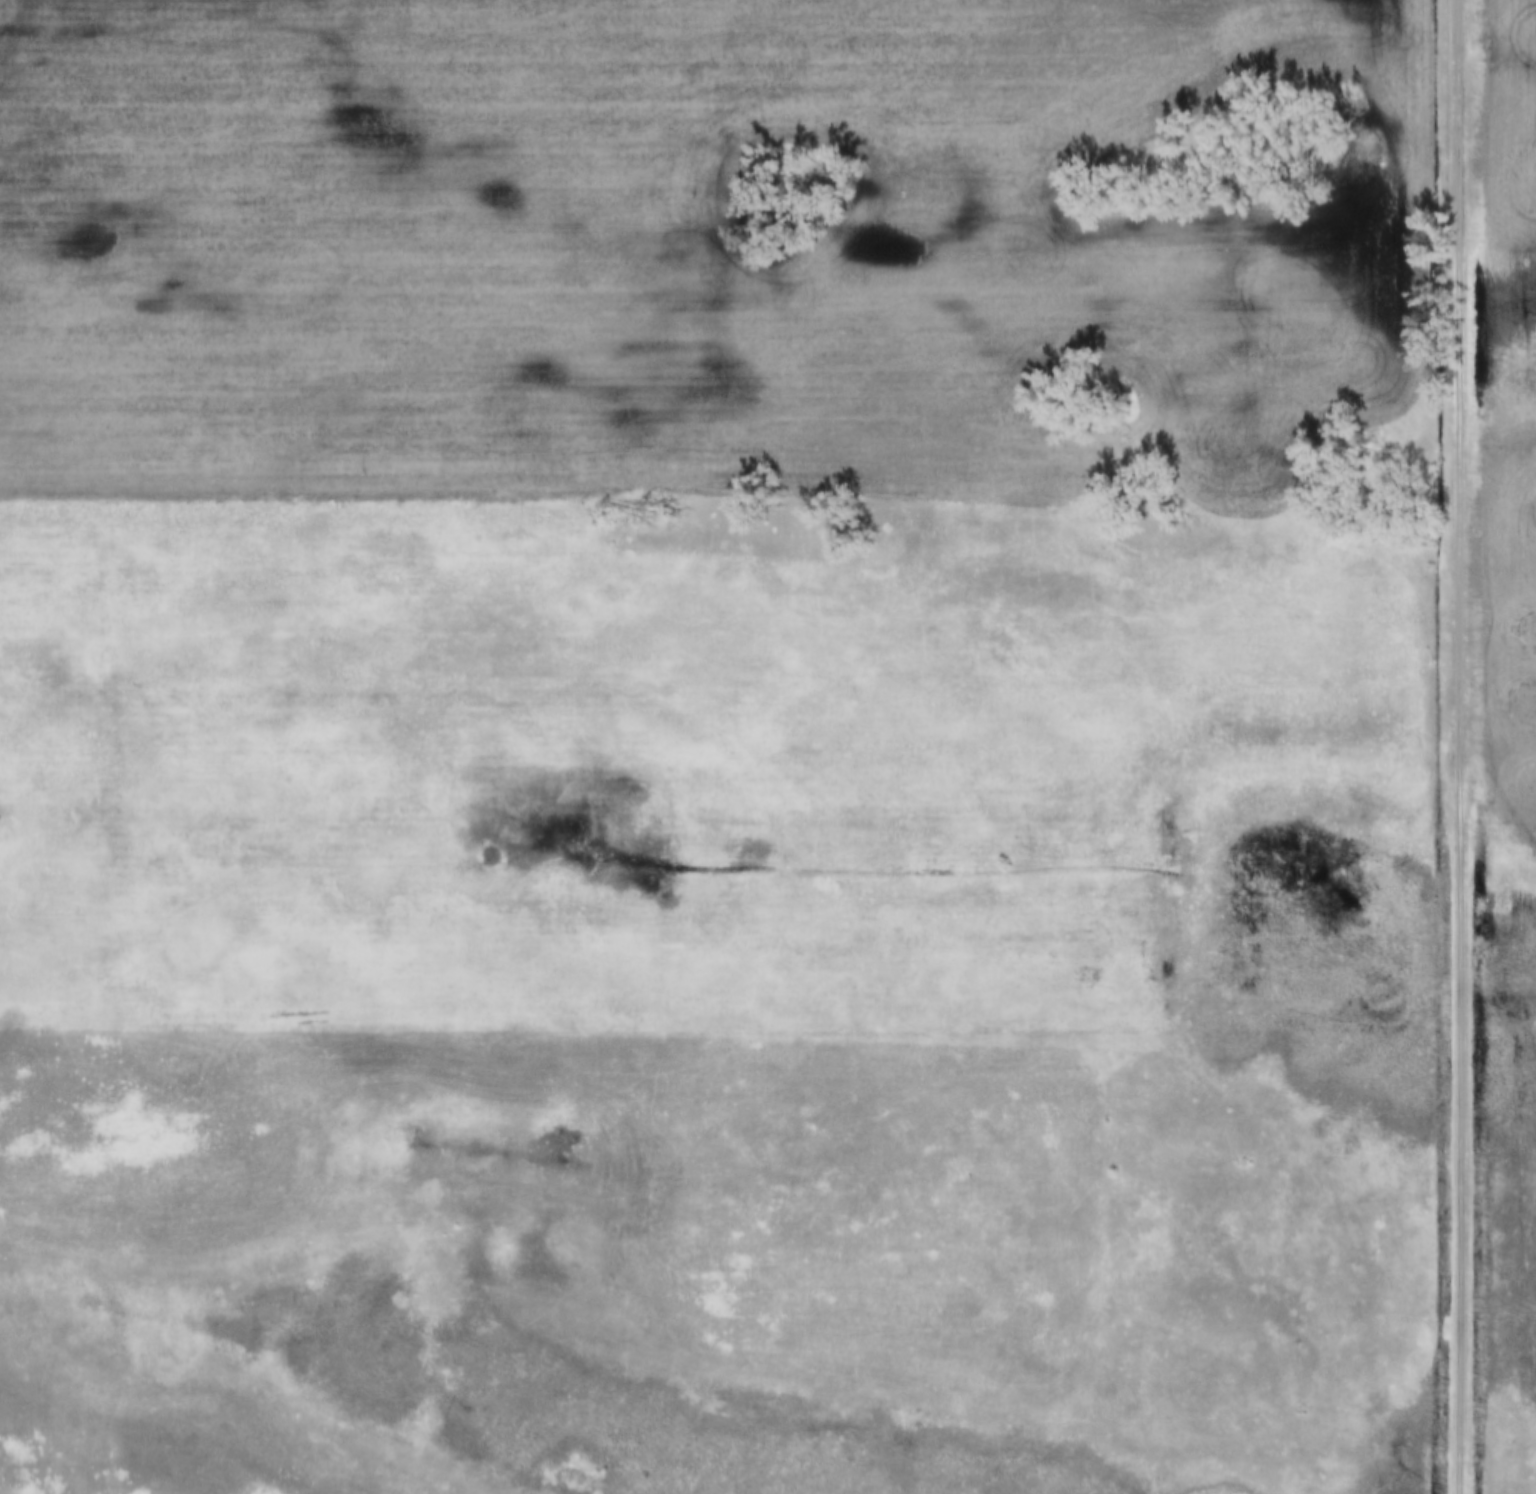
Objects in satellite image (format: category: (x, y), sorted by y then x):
road: (1460, 747)

